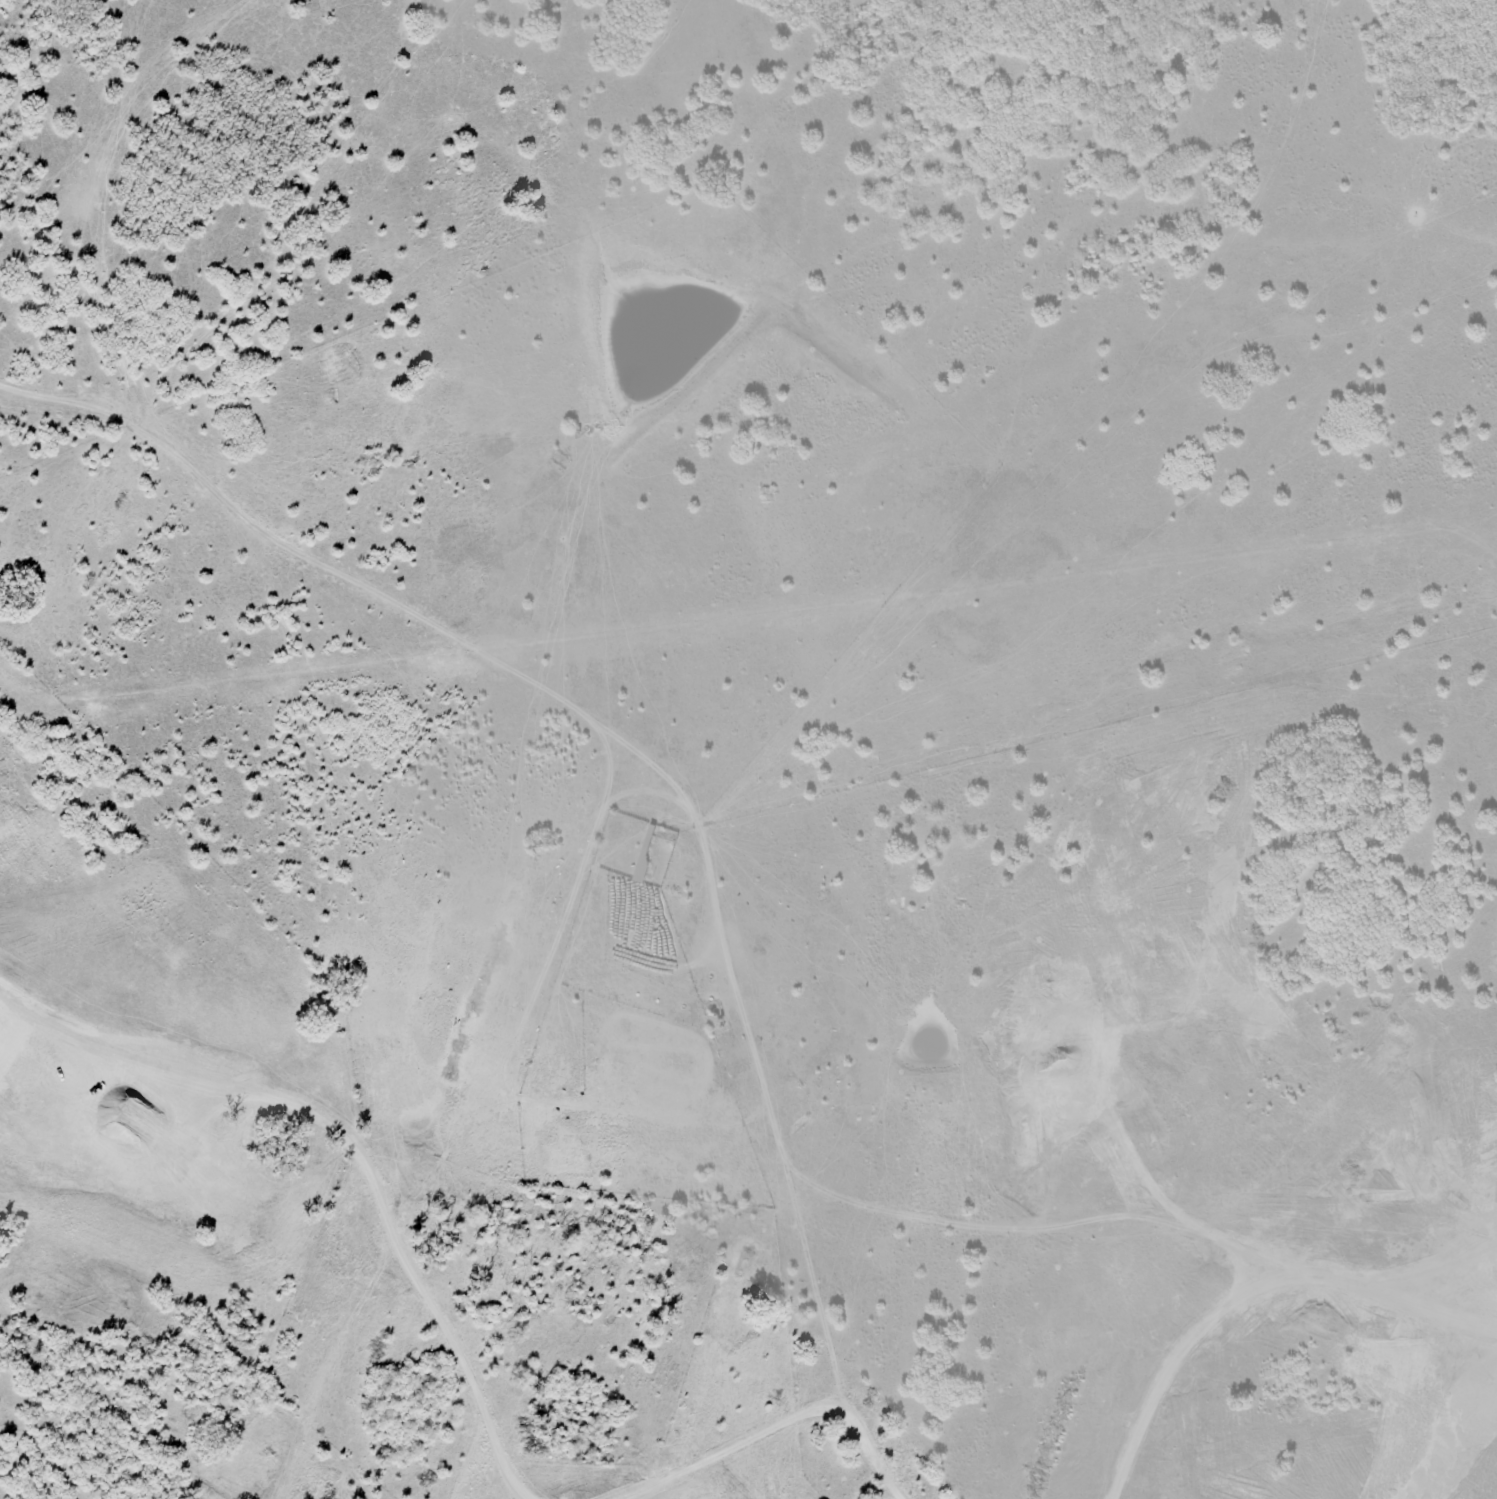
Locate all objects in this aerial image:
road: (599, 817)

